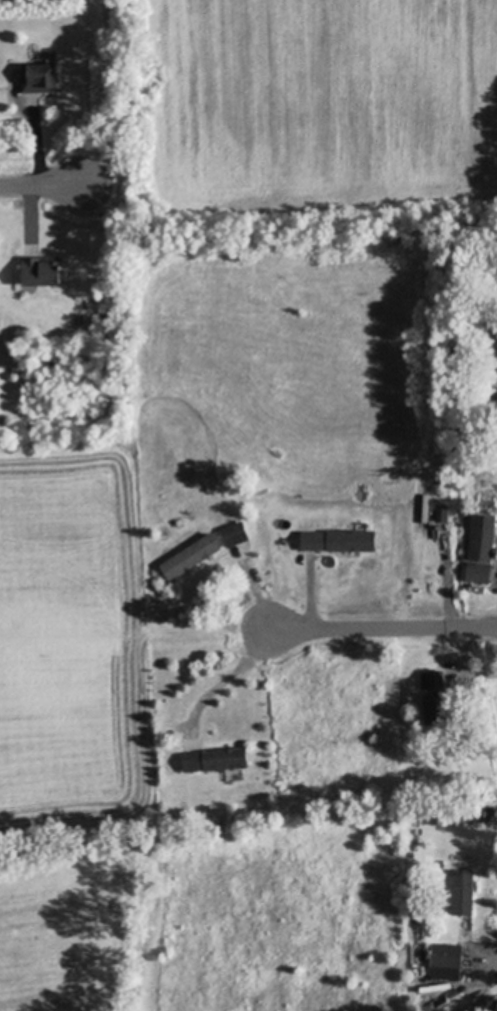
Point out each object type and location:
building: (38, 75)
road: (40, 185)
building: (40, 270)
building: (441, 513)
building: (483, 519)
building: (233, 533)
building: (338, 540)
building: (480, 544)
building: (190, 556)
building: (477, 571)
road: (382, 629)
road: (230, 679)
building: (432, 679)
building: (436, 708)
building: (174, 739)
building: (215, 759)
building: (438, 863)
building: (461, 891)
building: (445, 961)

